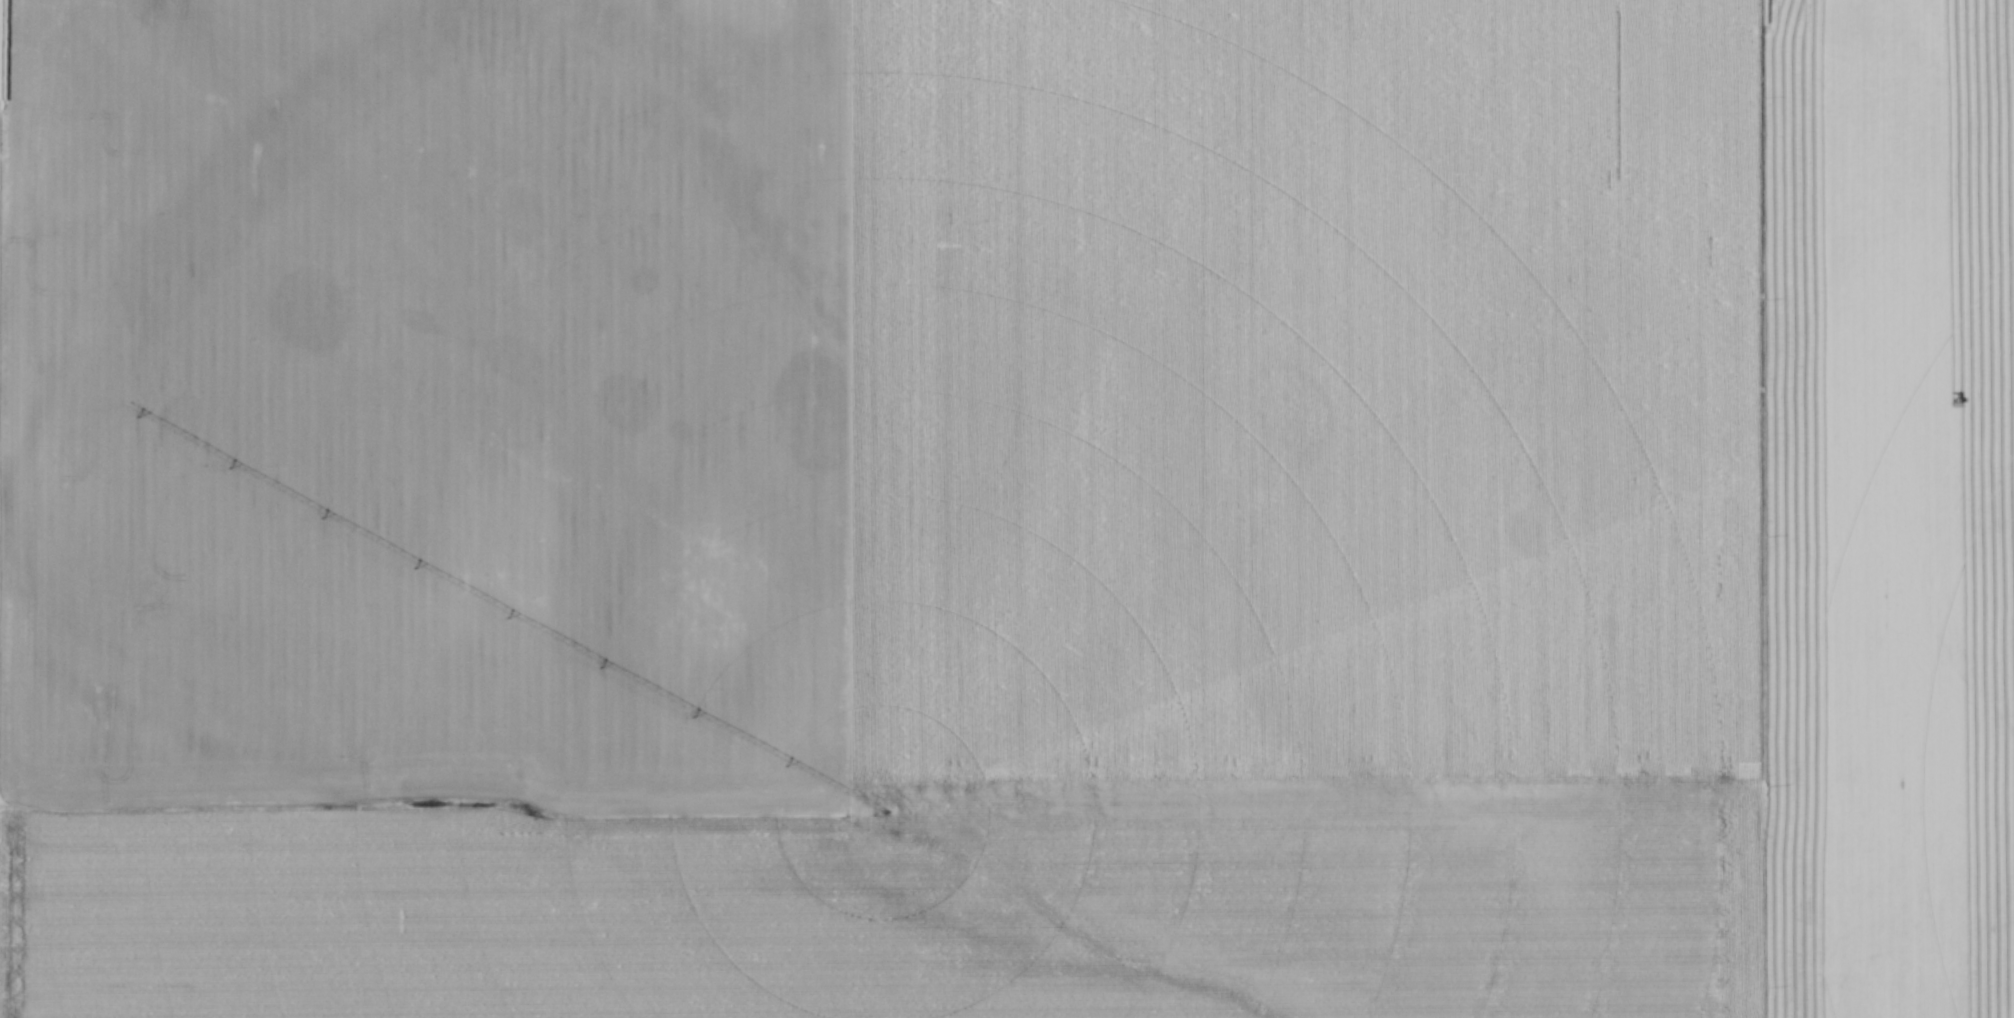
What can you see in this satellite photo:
crop: (1035, 412)
crop: (898, 919)

